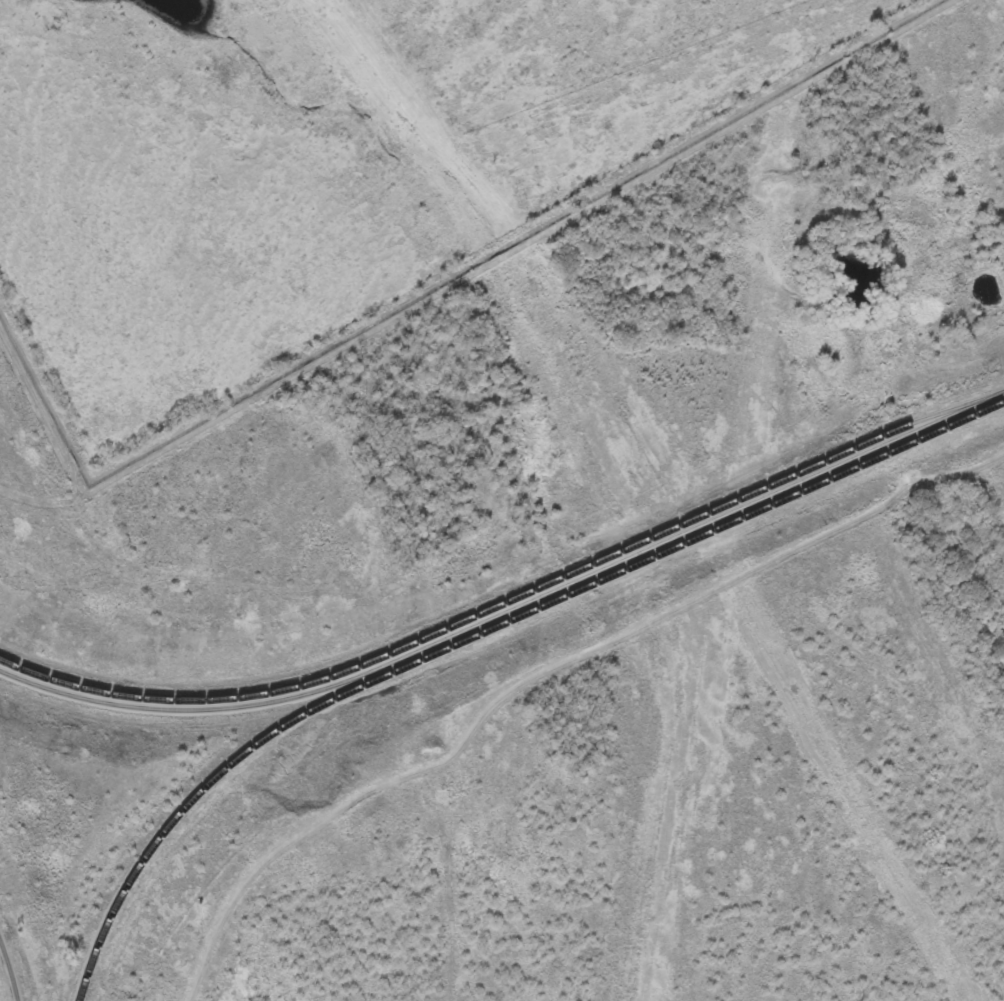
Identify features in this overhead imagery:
railway: (501, 606)
power plant: (558, 607)
railway: (512, 610)
railway: (481, 632)
railway: (11, 968)

